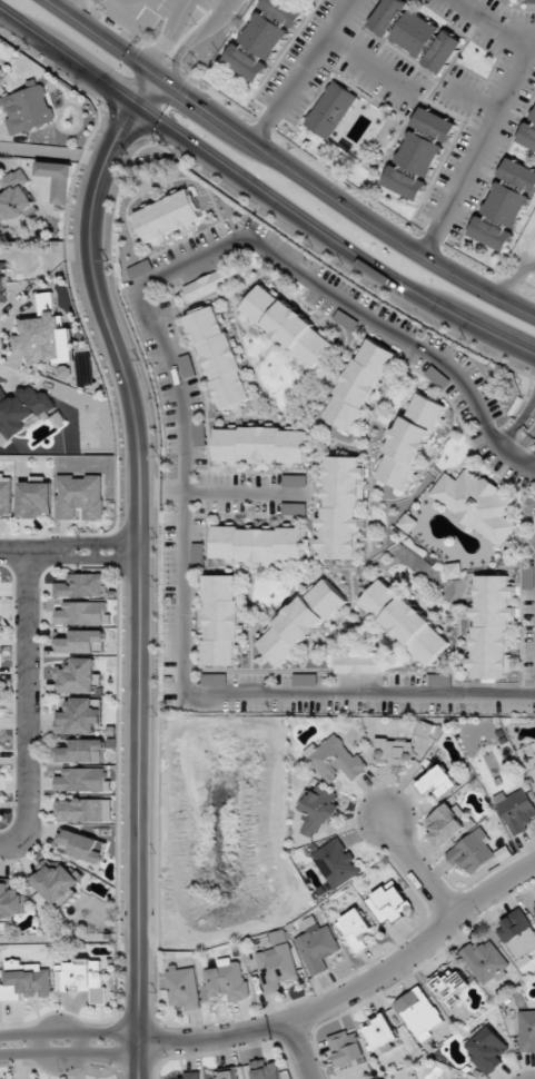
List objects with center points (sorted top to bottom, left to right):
building: (532, 1)
road: (76, 7)
road: (178, 16)
road: (489, 24)
building: (415, 32)
road: (195, 36)
building: (264, 37)
road: (157, 48)
road: (368, 62)
building: (0, 67)
road: (303, 69)
traffic signals: (158, 72)
traffic signals: (138, 106)
building: (27, 108)
building: (330, 108)
building: (528, 131)
road: (480, 146)
building: (419, 154)
road: (289, 164)
building: (56, 179)
road: (261, 192)
building: (14, 197)
building: (505, 204)
building: (168, 215)
road: (517, 275)
building: (3, 281)
building: (207, 284)
building: (288, 324)
building: (44, 335)
building: (219, 356)
building: (187, 365)
building: (360, 384)
building: (23, 407)
road: (527, 410)
road: (185, 415)
road: (533, 430)
building: (199, 434)
road: (513, 434)
building: (410, 440)
road: (523, 444)
building: (262, 445)
road: (533, 463)
building: (295, 481)
road: (151, 489)
road: (234, 492)
building: (6, 494)
building: (80, 495)
building: (34, 498)
building: (477, 503)
building: (294, 508)
building: (340, 508)
building: (409, 523)
building: (260, 543)
road: (143, 544)
road: (87, 554)
building: (454, 570)
building: (81, 585)
building: (82, 613)
building: (221, 618)
building: (405, 620)
building: (301, 621)
building: (492, 625)
building: (81, 642)
building: (357, 664)
building: (79, 675)
road: (27, 692)
building: (78, 717)
building: (81, 751)
building: (393, 752)
building: (335, 759)
building: (81, 780)
building: (438, 781)
building: (517, 809)
building: (83, 810)
building: (318, 810)
building: (445, 824)
building: (80, 845)
building: (473, 852)
building: (336, 862)
road: (420, 870)
building: (56, 882)
building: (9, 900)
building: (533, 901)
building: (388, 902)
building: (355, 929)
building: (518, 936)
building: (317, 948)
building: (484, 960)
building: (275, 967)
building: (85, 978)
building: (228, 980)
building: (27, 981)
building: (449, 983)
building: (184, 987)
road: (351, 994)
building: (419, 1012)
building: (526, 1030)
building: (382, 1032)
road: (68, 1036)
road: (78, 1045)
road: (37, 1046)
building: (346, 1046)
building: (487, 1050)
road: (297, 1051)
road: (69, 1052)
road: (137, 1060)
building: (265, 1070)
building: (191, 1075)
building: (227, 1075)
building: (385, 1078)

